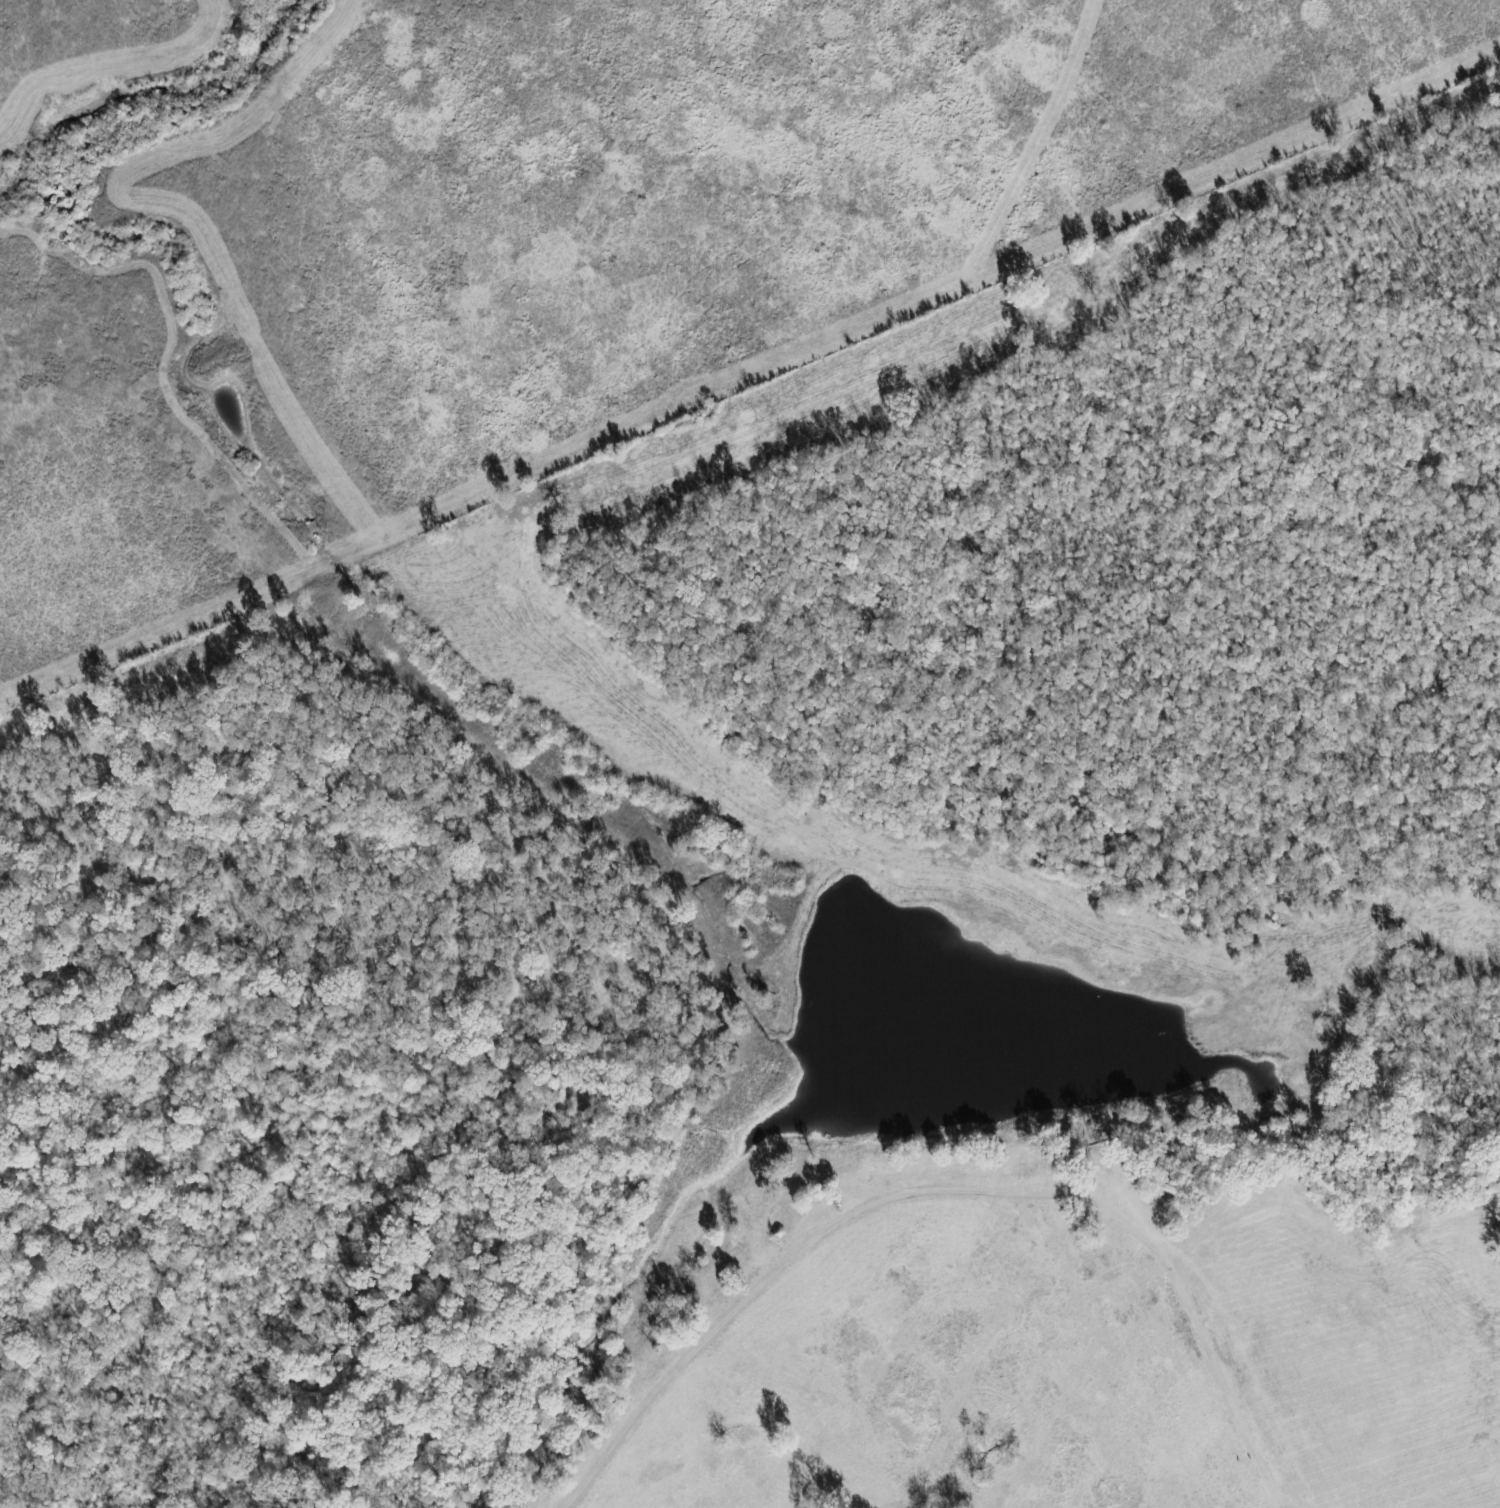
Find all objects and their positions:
road: (1191, 1337)

